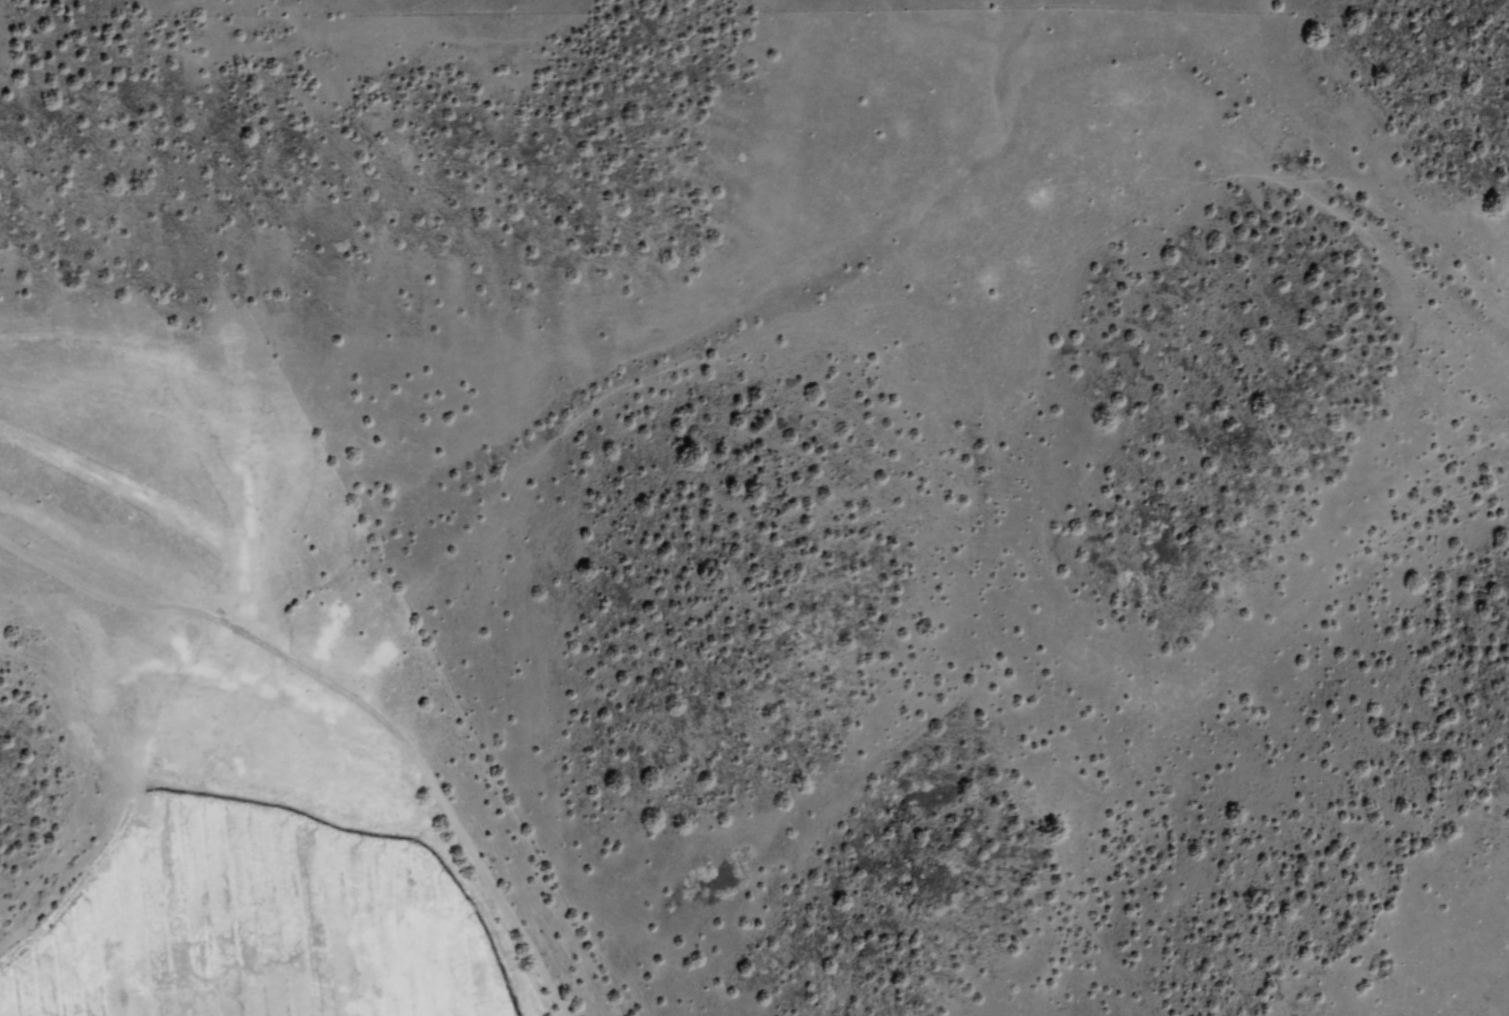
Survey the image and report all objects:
road: (350, 696)

